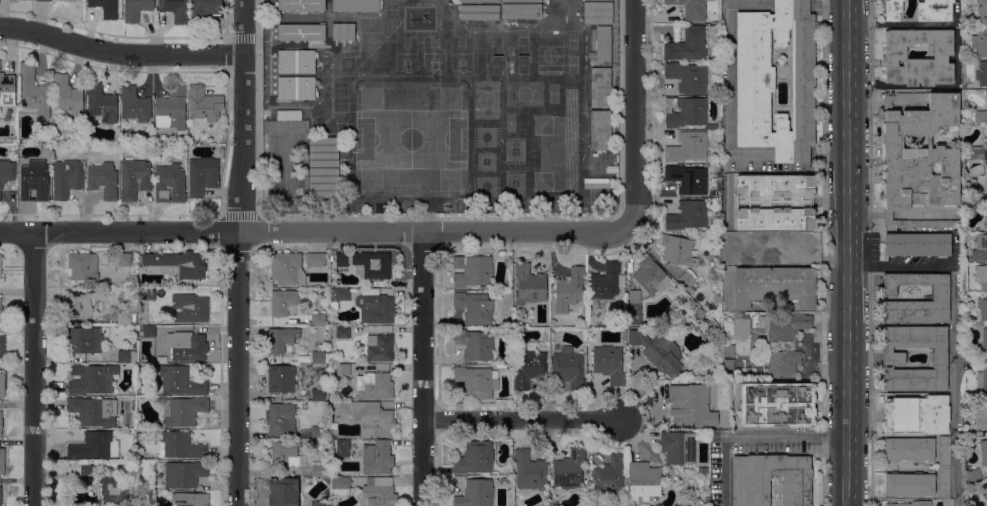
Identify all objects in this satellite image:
building: (43, 0)
building: (602, 0)
building: (479, 1)
building: (521, 1)
building: (301, 5)
building: (355, 6)
building: (105, 8)
building: (136, 9)
building: (690, 9)
building: (175, 10)
building: (205, 10)
building: (521, 11)
building: (919, 11)
building: (980, 11)
building: (478, 12)
building: (597, 13)
building: (343, 32)
building: (301, 33)
road: (242, 38)
building: (980, 42)
building: (687, 45)
building: (603, 46)
road: (120, 53)
building: (894, 58)
building: (296, 62)
building: (981, 74)
building: (687, 77)
building: (755, 80)
building: (296, 88)
building: (600, 88)
building: (7, 90)
building: (34, 95)
building: (66, 95)
building: (986, 96)
building: (101, 103)
building: (670, 103)
building: (134, 105)
building: (204, 106)
building: (171, 109)
road: (634, 113)
building: (690, 114)
building: (288, 116)
building: (979, 117)
building: (600, 131)
building: (687, 147)
building: (46, 151)
building: (323, 152)
building: (975, 154)
building: (603, 155)
building: (919, 159)
building: (7, 172)
building: (202, 176)
building: (66, 178)
building: (986, 178)
building: (134, 179)
building: (687, 179)
building: (103, 180)
building: (34, 182)
building: (324, 183)
building: (169, 184)
building: (969, 189)
building: (775, 202)
road: (239, 216)
road: (437, 216)
building: (687, 216)
building: (986, 217)
road: (313, 231)
building: (741, 238)
building: (917, 245)
building: (789, 248)
building: (980, 249)
building: (678, 250)
road: (237, 252)
road: (845, 252)
building: (124, 260)
building: (317, 260)
building: (177, 264)
building: (366, 264)
building: (0, 266)
road: (889, 266)
building: (82, 267)
building: (287, 269)
building: (472, 271)
building: (982, 276)
building: (650, 277)
building: (686, 279)
building: (606, 282)
building: (529, 285)
building: (774, 286)
building: (569, 290)
building: (149, 294)
building: (340, 295)
building: (940, 299)
building: (79, 303)
building: (283, 303)
building: (634, 303)
building: (333, 306)
building: (375, 307)
building: (190, 308)
building: (474, 308)
building: (982, 308)
building: (0, 310)
building: (124, 319)
building: (583, 319)
building: (317, 320)
building: (787, 328)
building: (740, 330)
building: (149, 332)
building: (342, 333)
building: (82, 340)
building: (281, 340)
building: (984, 344)
building: (474, 345)
building: (186, 346)
building: (2, 348)
building: (379, 348)
building: (658, 352)
building: (123, 357)
building: (317, 358)
building: (894, 359)
building: (609, 364)
building: (783, 365)
building: (529, 367)
road: (33, 368)
road: (423, 368)
building: (568, 369)
building: (343, 370)
building: (92, 379)
building: (281, 379)
building: (982, 381)
building: (179, 382)
building: (476, 382)
building: (2, 386)
building: (372, 386)
road: (870, 389)
road: (954, 392)
building: (318, 395)
building: (691, 405)
building: (777, 405)
building: (339, 408)
building: (94, 411)
building: (183, 411)
building: (917, 414)
building: (280, 418)
building: (373, 419)
road: (521, 420)
building: (981, 422)
building: (0, 423)
building: (318, 433)
road: (785, 435)
building: (95, 446)
building: (181, 446)
building: (342, 448)
building: (677, 448)
building: (909, 449)
building: (944, 452)
building: (983, 452)
building: (286, 455)
building: (377, 458)
building: (474, 458)
building: (2, 460)
building: (569, 469)
road: (725, 470)
building: (90, 471)
building: (530, 471)
building: (702, 471)
road: (823, 471)
building: (320, 472)
building: (184, 474)
building: (972, 474)
building: (608, 475)
building: (770, 479)
building: (643, 481)
building: (944, 483)
building: (910, 484)
building: (340, 486)
building: (983, 491)
building: (119, 492)
building: (283, 492)
building: (380, 492)
building: (475, 493)
building: (0, 496)
building: (190, 499)
building: (680, 501)
building: (947, 502)
building: (317, 503)
building: (912, 504)

